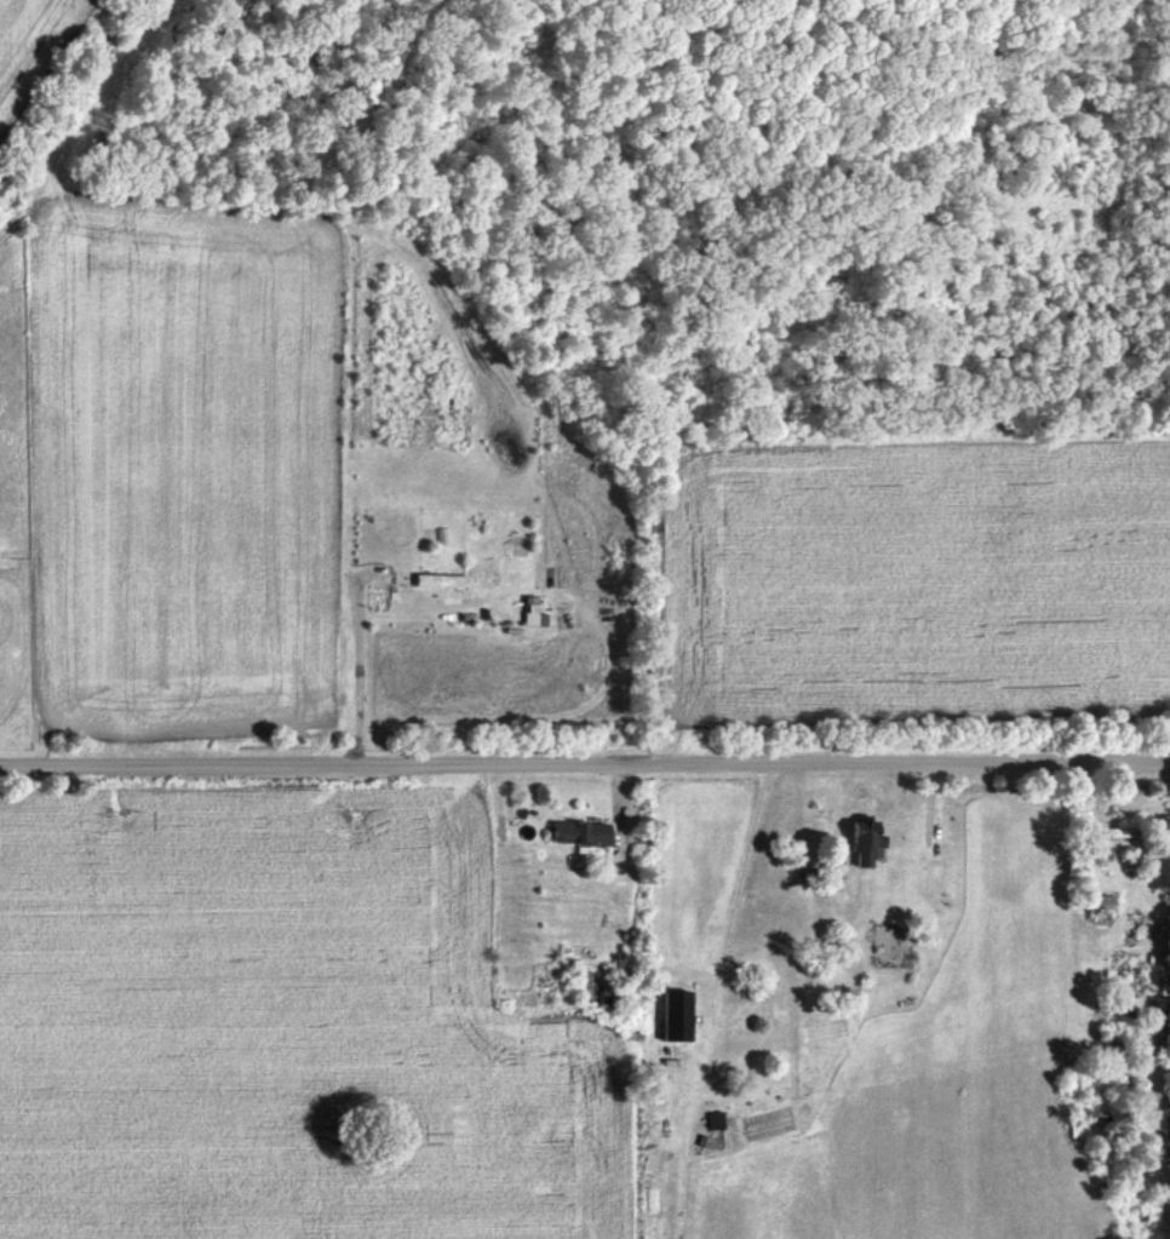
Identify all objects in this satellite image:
building: (436, 566)
road: (585, 759)
building: (1094, 816)
building: (1114, 833)
building: (578, 834)
building: (856, 842)
building: (1102, 908)
building: (675, 1015)

